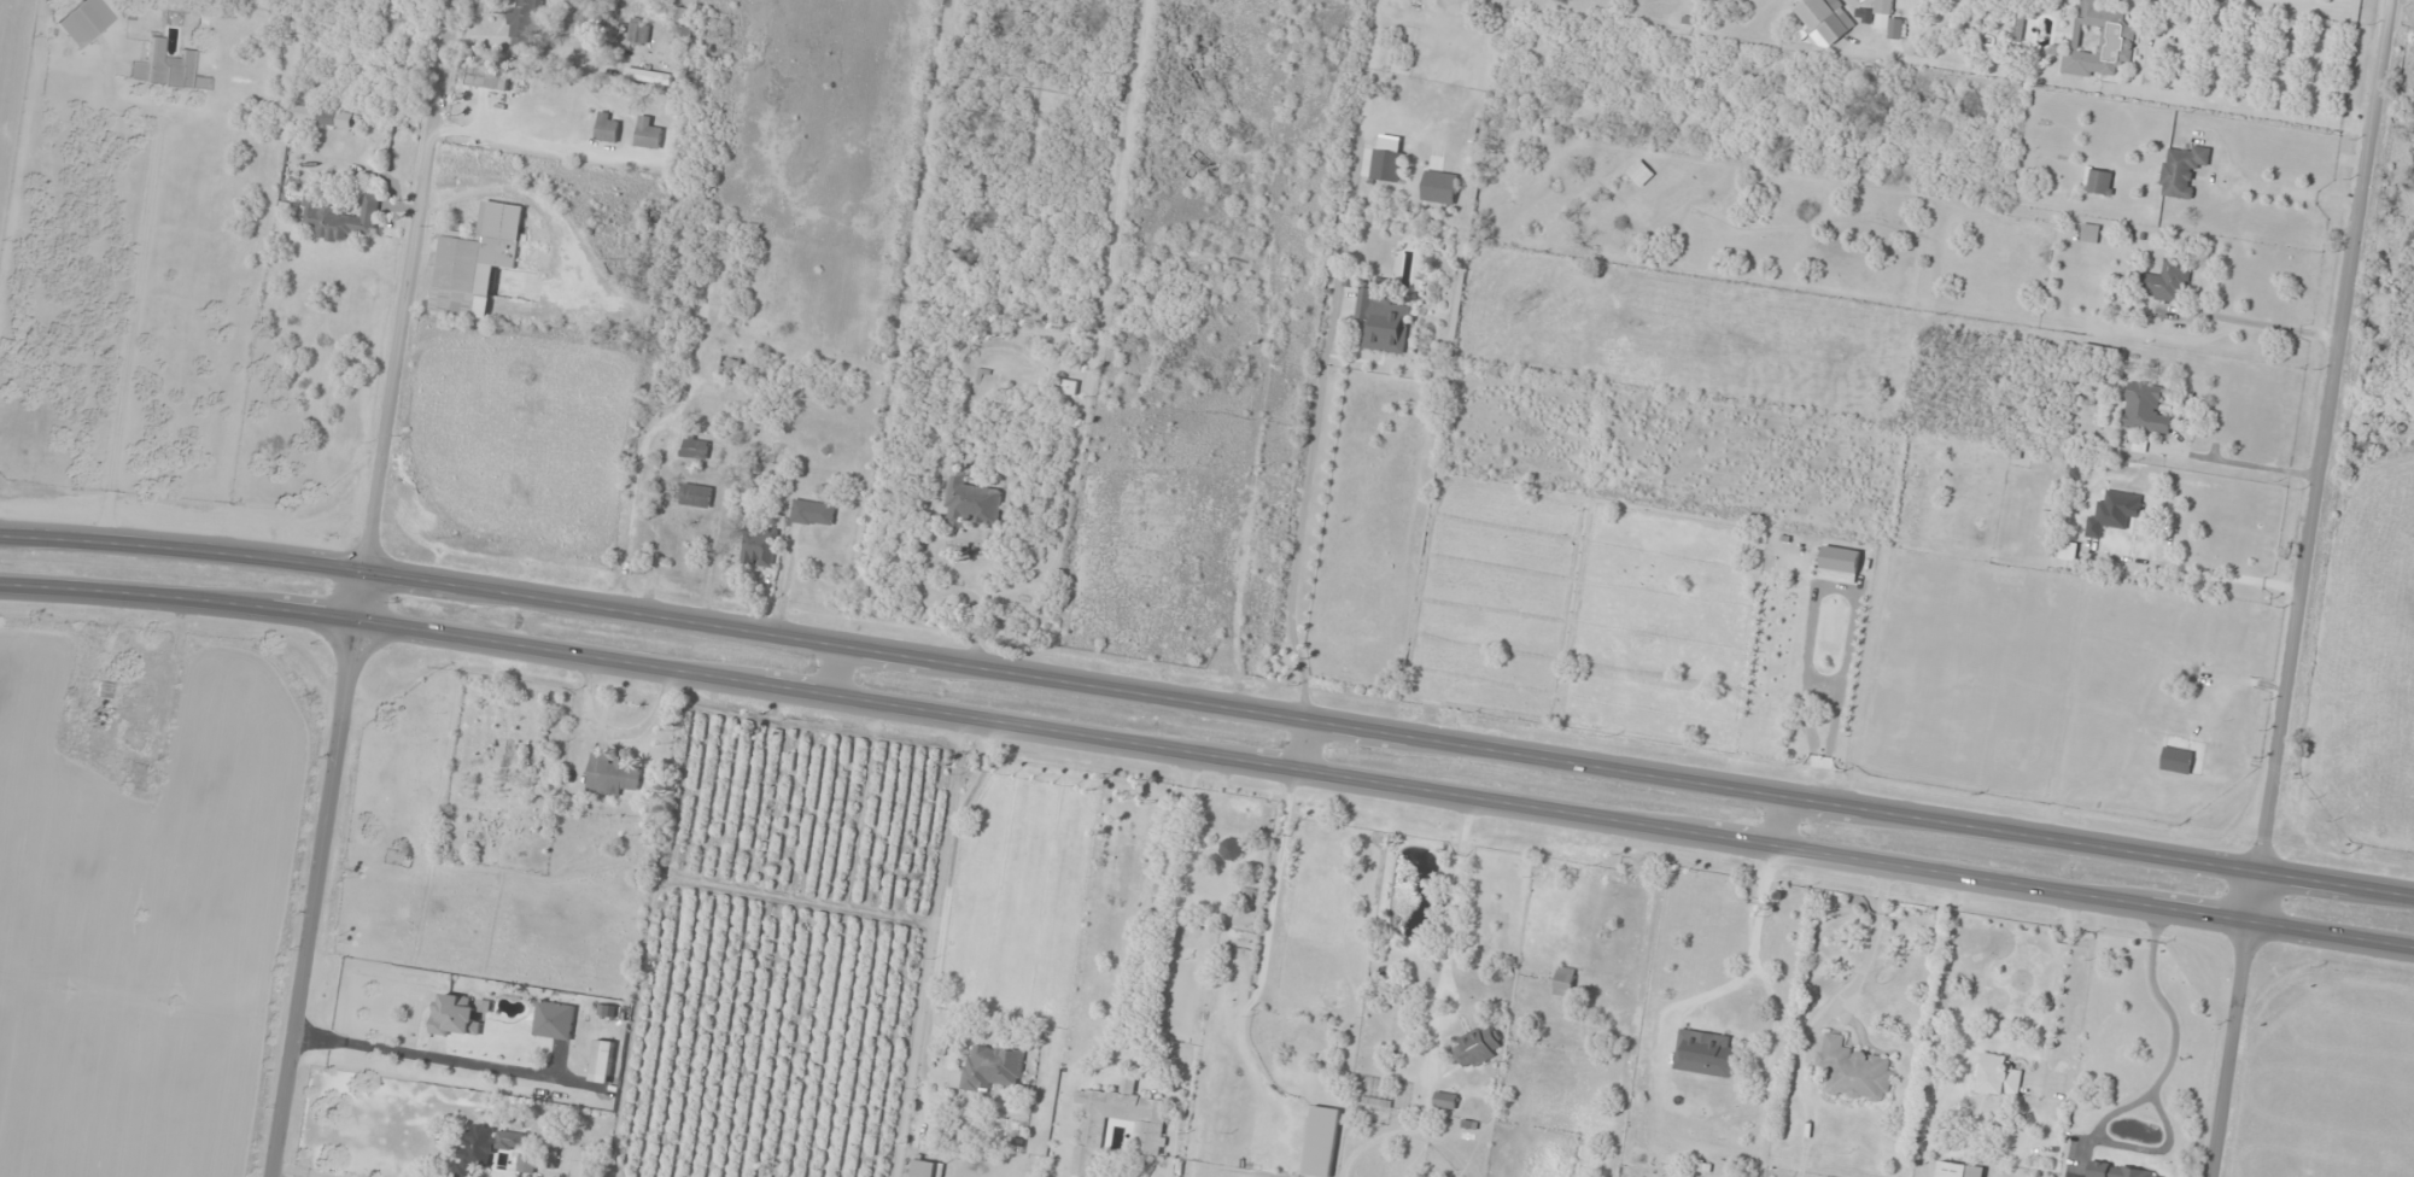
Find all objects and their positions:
building: (1882, 17)
building: (1824, 19)
building: (84, 22)
building: (524, 23)
building: (638, 30)
building: (2099, 39)
building: (166, 69)
building: (489, 78)
building: (320, 116)
building: (607, 127)
building: (648, 133)
building: (1386, 158)
building: (2181, 169)
building: (1639, 172)
building: (2099, 180)
building: (1439, 186)
building: (341, 217)
building: (2089, 232)
road: (653, 251)
building: (477, 259)
building: (2169, 281)
building: (1381, 321)
building: (730, 363)
road: (481, 380)
building: (707, 404)
building: (2144, 408)
road: (2324, 435)
building: (695, 447)
building: (700, 494)
building: (972, 500)
building: (2112, 511)
building: (813, 513)
building: (758, 550)
building: (2068, 550)
road: (362, 588)
road: (838, 669)
road: (1208, 703)
road: (1299, 744)
road: (1208, 755)
building: (2176, 760)
building: (610, 774)
road: (1776, 820)
building: (1231, 848)
building: (1563, 980)
road: (408, 996)
building: (457, 1014)
building: (554, 1019)
road: (2234, 1024)
building: (1477, 1047)
building: (1703, 1053)
building: (602, 1060)
building: (993, 1068)
building: (1853, 1071)
building: (1995, 1074)
building: (1444, 1100)
building: (1148, 1136)
building: (1320, 1141)
building: (486, 1147)
building: (527, 1163)
building: (925, 1169)
building: (1958, 1170)
road: (311, 1171)
building: (2123, 1171)

